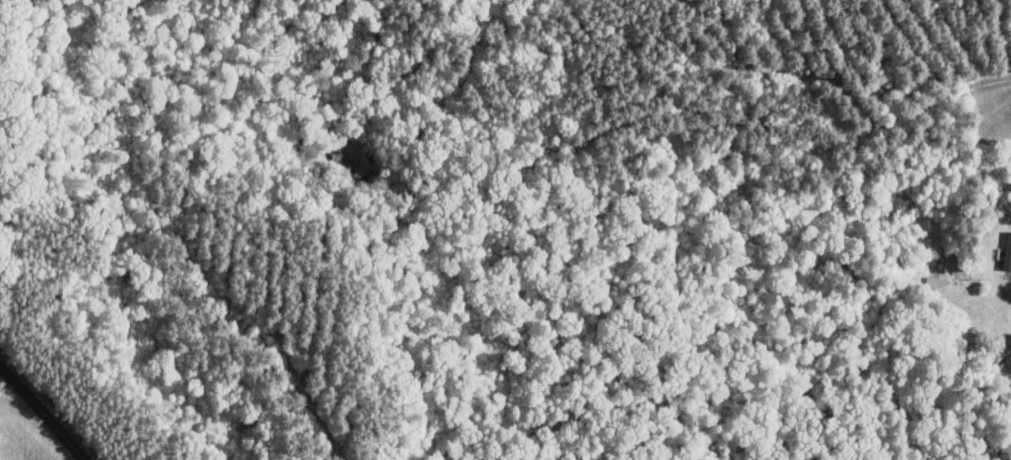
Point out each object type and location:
road: (40, 416)

